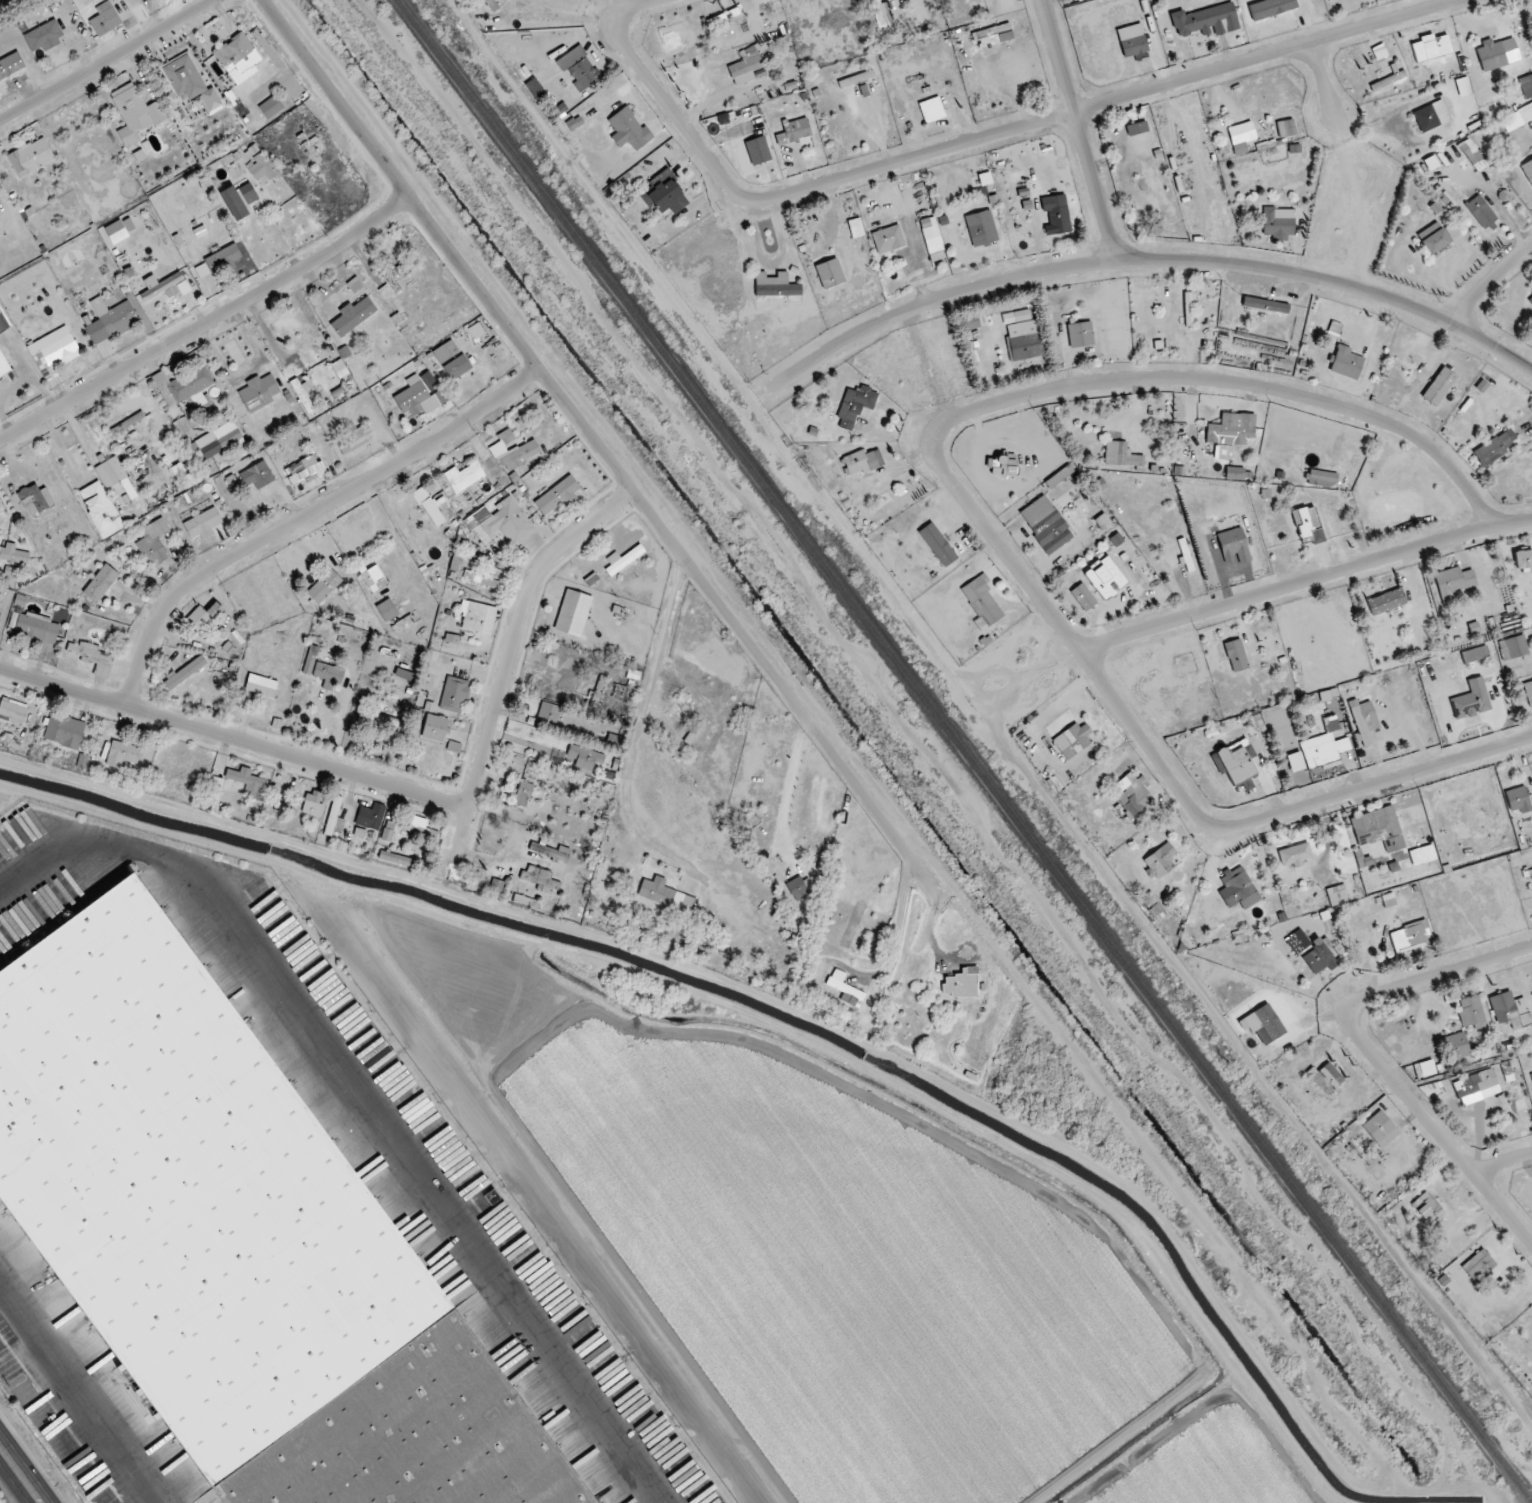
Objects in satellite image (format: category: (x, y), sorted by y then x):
building: (492, 5)
road: (638, 6)
building: (1270, 8)
road: (565, 15)
building: (880, 17)
building: (104, 19)
building: (1206, 21)
building: (44, 36)
building: (1003, 36)
building: (1132, 40)
building: (1379, 52)
building: (1497, 54)
building: (238, 58)
building: (749, 61)
road: (106, 62)
building: (11, 65)
building: (578, 68)
building: (184, 77)
road: (1321, 80)
building: (1463, 86)
building: (1526, 86)
building: (210, 102)
building: (270, 107)
building: (931, 110)
building: (135, 113)
building: (1431, 116)
building: (1517, 118)
building: (575, 123)
building: (1136, 128)
building: (1286, 128)
building: (628, 129)
road: (1079, 129)
building: (793, 131)
road: (991, 135)
building: (1241, 141)
building: (757, 150)
building: (312, 151)
building: (1472, 155)
building: (30, 157)
building: (262, 168)
building: (1527, 170)
building: (248, 193)
building: (664, 193)
building: (234, 203)
building: (1480, 212)
building: (1057, 213)
building: (1278, 222)
building: (855, 228)
building: (981, 228)
building: (1453, 230)
building: (931, 235)
building: (888, 239)
building: (1435, 241)
road: (448, 246)
building: (225, 256)
road: (1137, 260)
building: (202, 270)
building: (829, 273)
road: (1489, 281)
building: (390, 283)
building: (355, 285)
building: (775, 285)
building: (165, 287)
building: (1530, 299)
building: (1265, 305)
building: (353, 315)
building: (116, 318)
building: (3, 322)
building: (968, 322)
road: (207, 323)
building: (1080, 334)
building: (1022, 336)
building: (53, 351)
building: (441, 354)
building: (1345, 362)
building: (3, 366)
building: (456, 367)
building: (429, 381)
road: (1093, 383)
building: (182, 384)
building: (1439, 386)
building: (1481, 386)
building: (258, 392)
building: (418, 398)
building: (855, 406)
building: (183, 427)
building: (1230, 433)
building: (218, 439)
building: (353, 440)
building: (513, 450)
building: (1492, 450)
building: (1121, 455)
building: (860, 462)
building: (1002, 465)
building: (306, 469)
building: (1235, 473)
building: (114, 475)
building: (257, 475)
building: (1059, 476)
building: (464, 477)
building: (1321, 479)
building: (557, 495)
building: (35, 499)
building: (429, 506)
building: (100, 509)
road: (305, 516)
building: (501, 521)
building: (1102, 521)
building: (0, 523)
building: (202, 524)
building: (1046, 525)
building: (1308, 525)
building: (1116, 539)
building: (153, 544)
building: (937, 544)
building: (1234, 546)
building: (13, 554)
building: (623, 559)
building: (1523, 559)
building: (11, 571)
building: (372, 577)
building: (1105, 577)
building: (481, 578)
building: (1454, 581)
road: (1307, 582)
building: (100, 583)
building: (324, 586)
building: (1082, 597)
building: (20, 600)
building: (982, 600)
building: (1386, 601)
building: (387, 610)
building: (573, 613)
building: (202, 617)
building: (477, 617)
building: (402, 624)
building: (36, 627)
road: (660, 638)
building: (451, 639)
building: (1513, 647)
building: (1476, 650)
building: (1236, 655)
building: (93, 658)
road: (510, 660)
building: (184, 672)
building: (329, 674)
building: (261, 685)
building: (1528, 691)
road: (786, 692)
building: (454, 695)
building: (1471, 700)
building: (13, 711)
building: (549, 713)
building: (1364, 721)
building: (435, 728)
building: (64, 731)
road: (235, 739)
building: (1073, 740)
building: (454, 746)
railway: (965, 749)
building: (1322, 750)
building: (122, 754)
building: (585, 758)
building: (82, 761)
building: (1235, 761)
building: (1295, 762)
building: (247, 779)
road: (628, 779)
road: (790, 786)
building: (523, 793)
building: (1518, 799)
building: (1133, 800)
building: (313, 804)
building: (370, 816)
road: (1268, 818)
building: (334, 819)
building: (420, 827)
building: (1378, 829)
building: (359, 832)
building: (386, 834)
building: (552, 853)
building: (1295, 855)
building: (1422, 855)
building: (394, 858)
building: (1159, 861)
building: (540, 879)
building: (1238, 888)
building: (797, 889)
building: (664, 894)
building: (1337, 895)
building: (526, 902)
road: (896, 925)
building: (1410, 936)
building: (1297, 942)
building: (1319, 957)
building: (961, 983)
building: (844, 988)
building: (1510, 1010)
building: (1472, 1013)
building: (1264, 1022)
building: (1457, 1046)
road: (1374, 1055)
building: (1424, 1068)
building: (1531, 1076)
building: (1327, 1078)
building: (1476, 1087)
building: (1380, 1129)
road: (1503, 1161)
building: (491, 1197)
building: (1426, 1208)
building: (235, 1240)
building: (1478, 1265)
road: (77, 1397)
road: (19, 1476)

